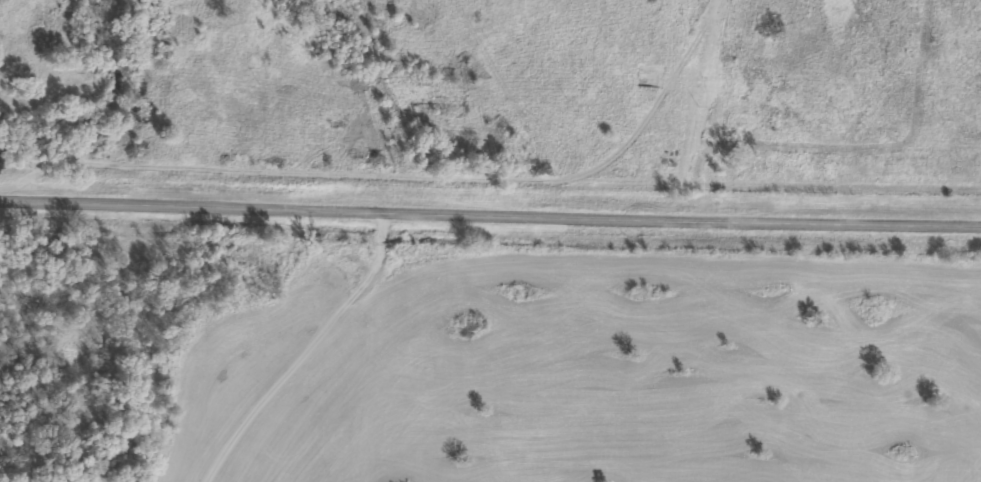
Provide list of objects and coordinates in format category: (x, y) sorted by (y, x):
road: (490, 217)

